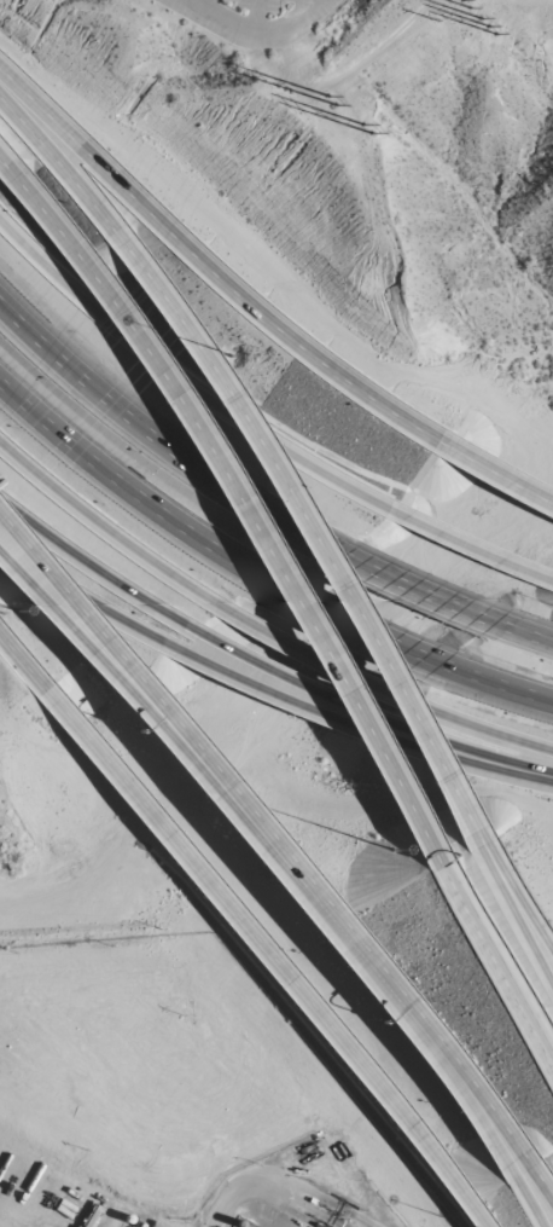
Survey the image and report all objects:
road: (211, 4)
road: (302, 5)
road: (256, 15)
parking lot: (252, 19)
road: (256, 30)
road: (5, 160)
road: (65, 170)
road: (208, 270)
road: (181, 380)
road: (155, 442)
road: (494, 475)
road: (245, 492)
road: (118, 493)
road: (315, 527)
road: (105, 538)
road: (468, 546)
road: (97, 567)
road: (415, 594)
road: (88, 600)
road: (350, 626)
road: (530, 636)
road: (101, 643)
road: (315, 652)
road: (101, 659)
road: (23, 662)
road: (295, 676)
road: (503, 689)
road: (281, 691)
road: (479, 730)
road: (470, 746)
road: (468, 754)
road: (512, 889)
road: (511, 907)
road: (495, 951)
road: (268, 956)
road: (376, 960)
road: (414, 1029)
road: (543, 1177)
road: (528, 1203)

